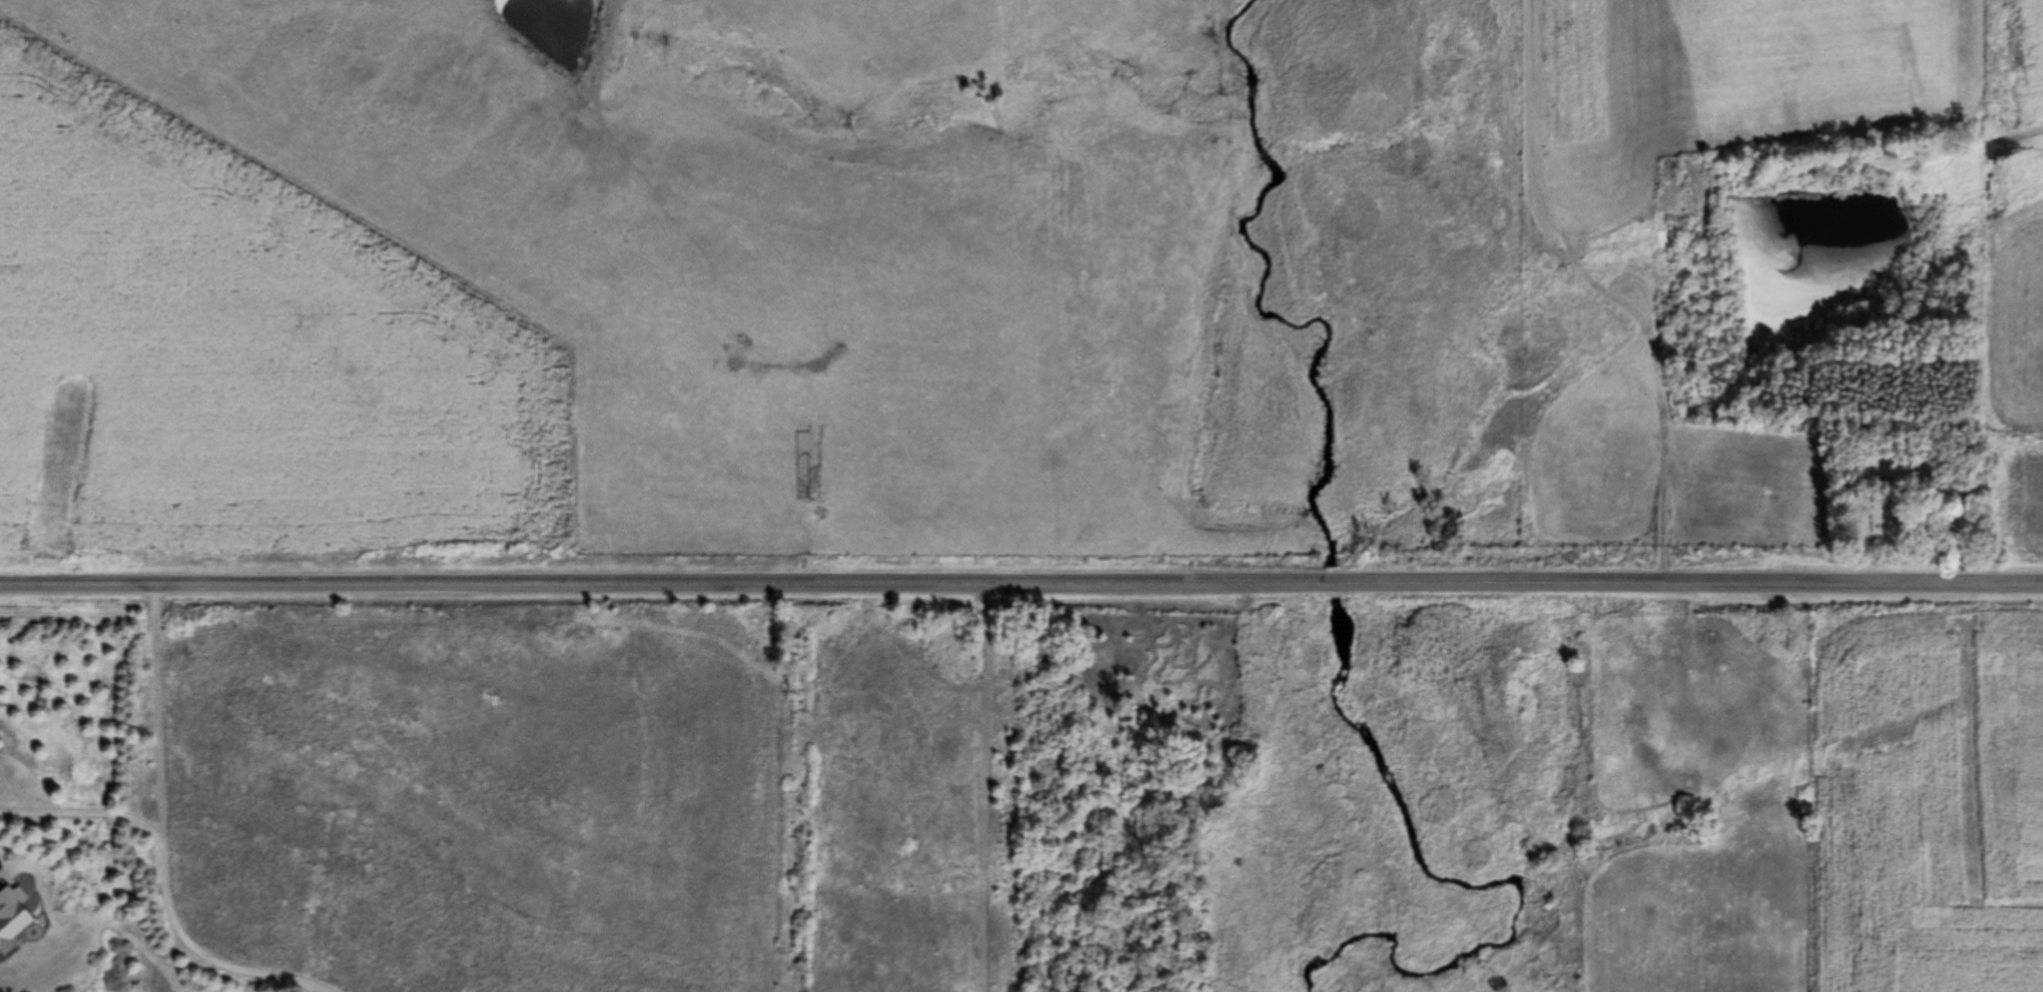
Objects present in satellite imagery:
park: (1914, 503)
building: (1948, 524)
road: (1021, 583)
road: (153, 713)
road: (161, 887)
building: (13, 919)

